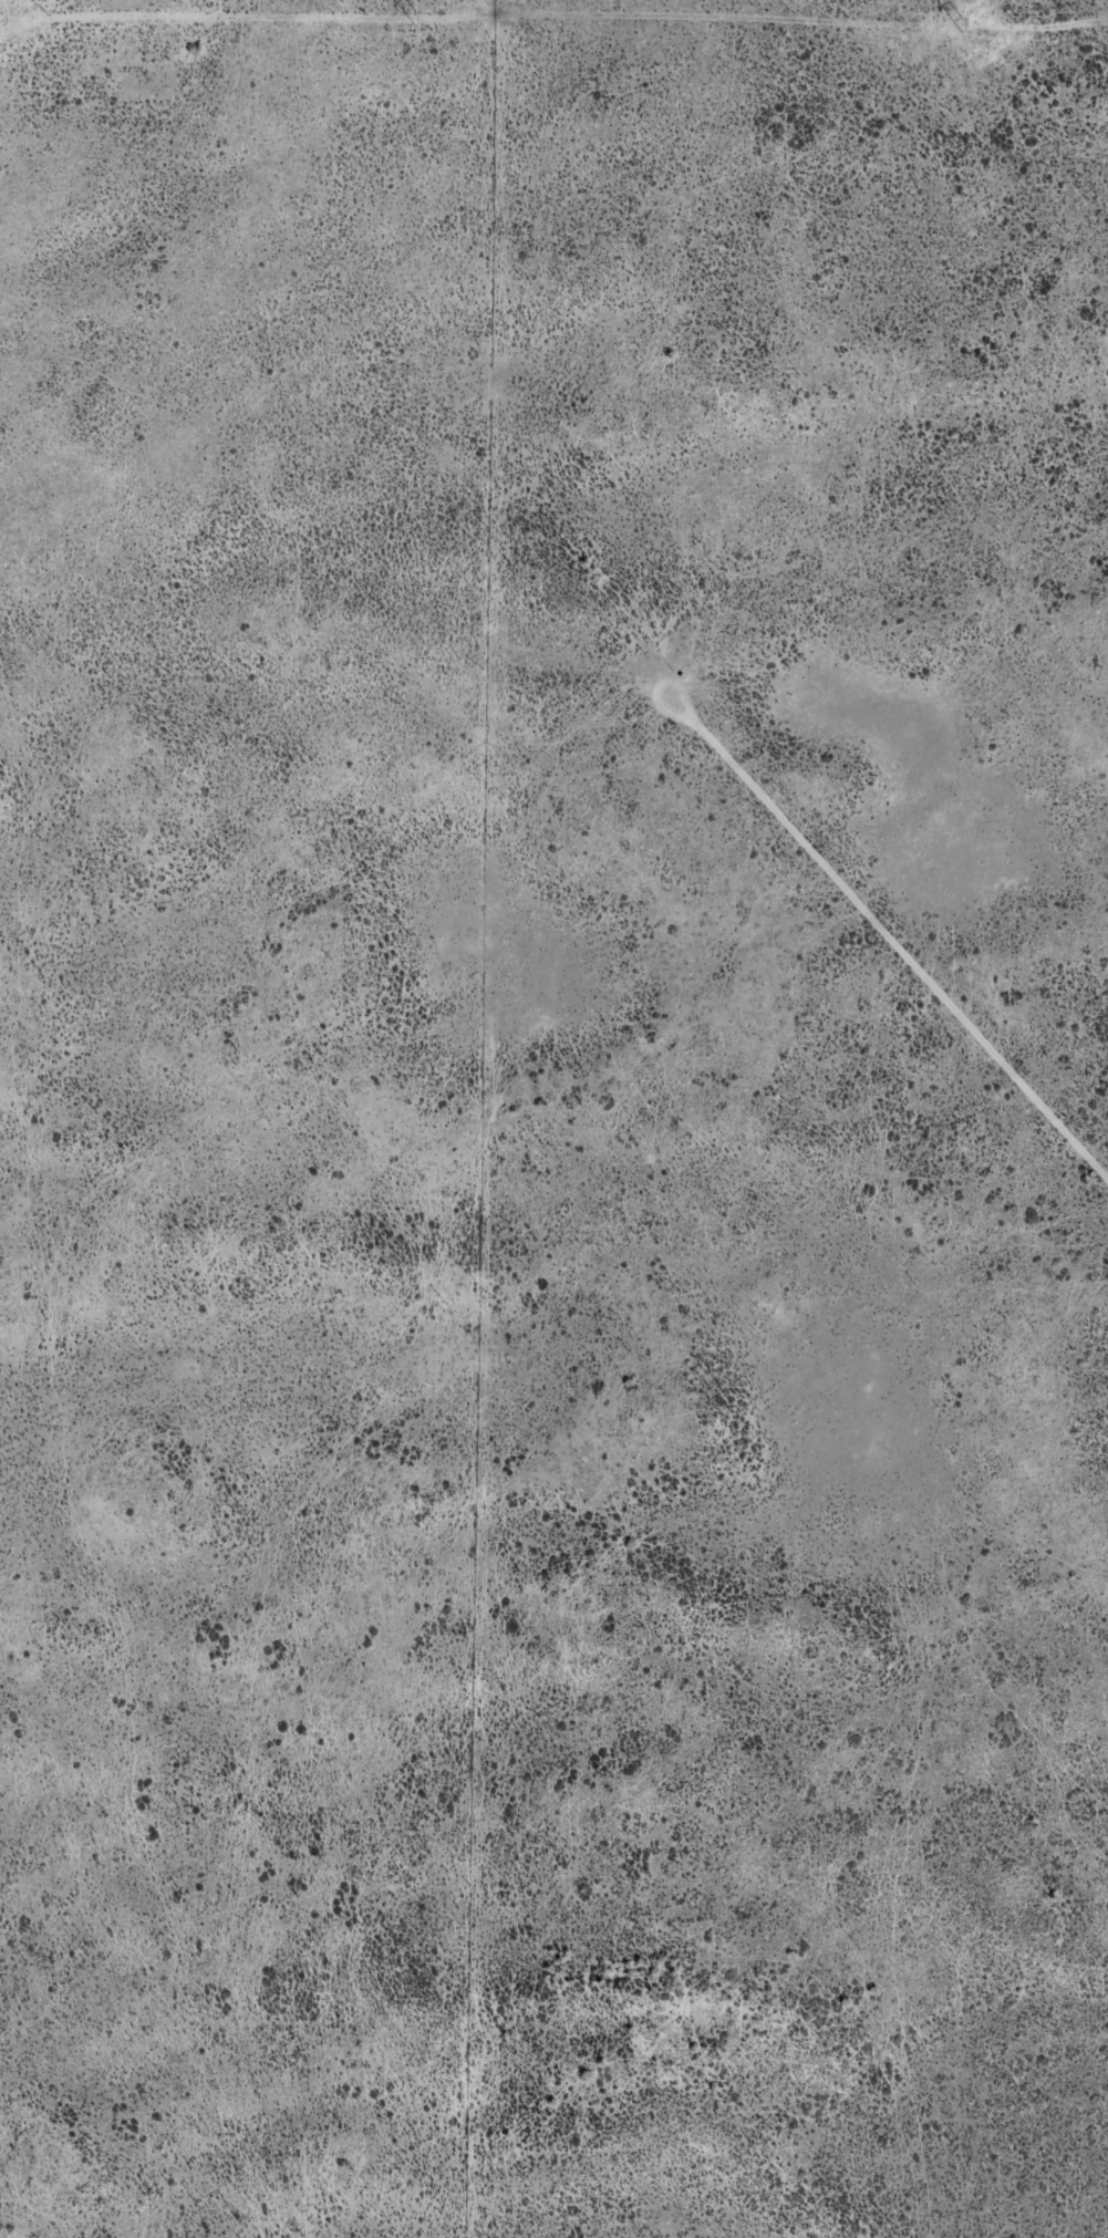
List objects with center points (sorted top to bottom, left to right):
power tower: (408, 19)
power tower: (960, 24)
road: (920, 898)

